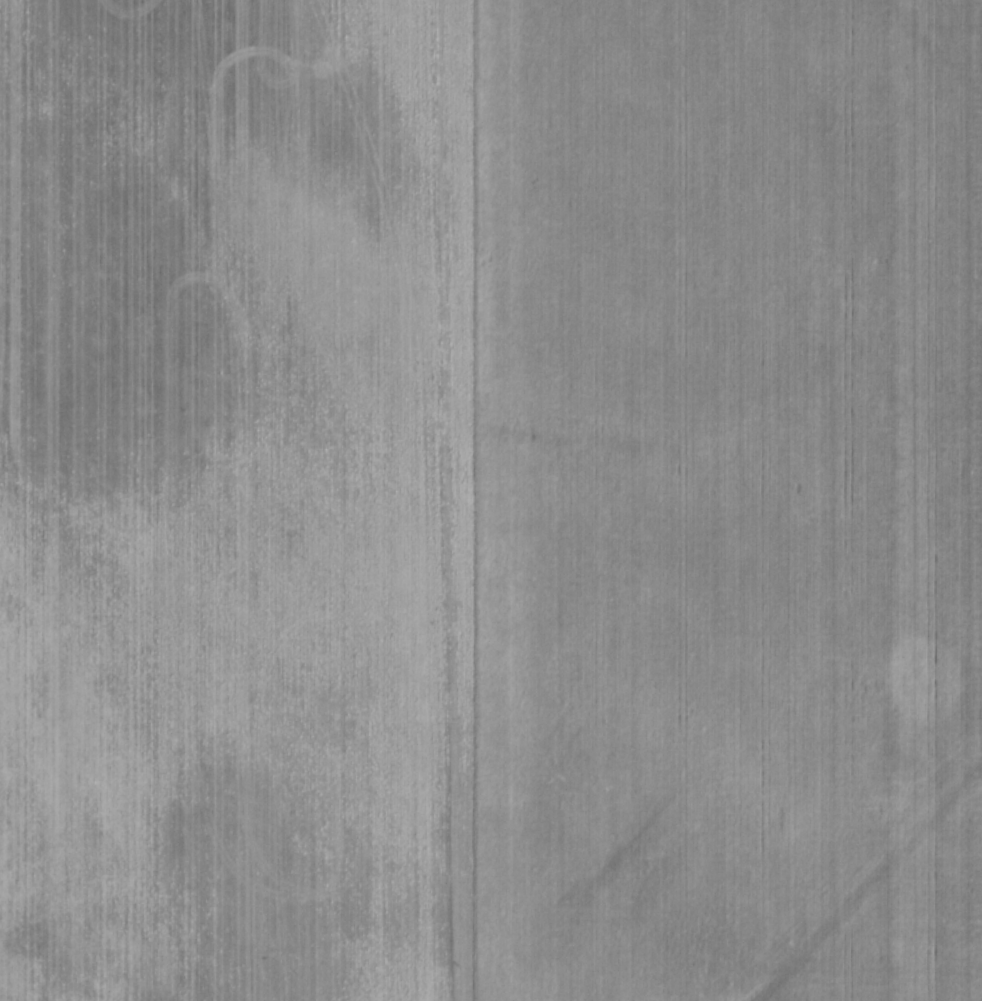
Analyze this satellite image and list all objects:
crop: (491, 500)

